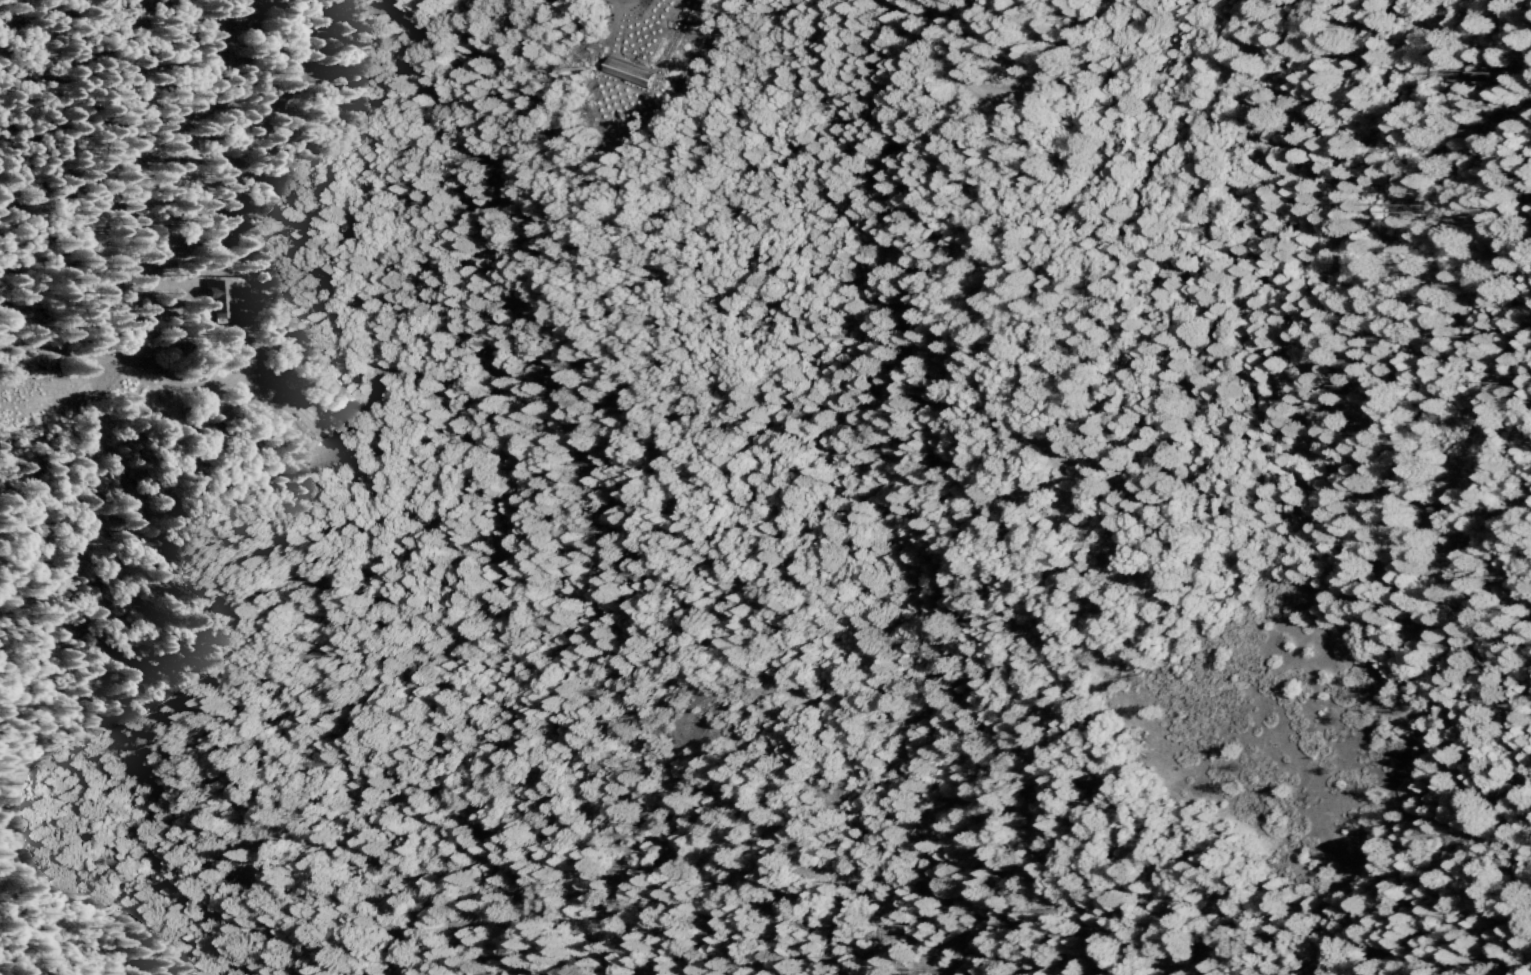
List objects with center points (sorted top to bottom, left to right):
road: (617, 1)
building: (623, 71)
road: (1009, 94)
road: (107, 362)
road: (1434, 549)
road: (1397, 947)

